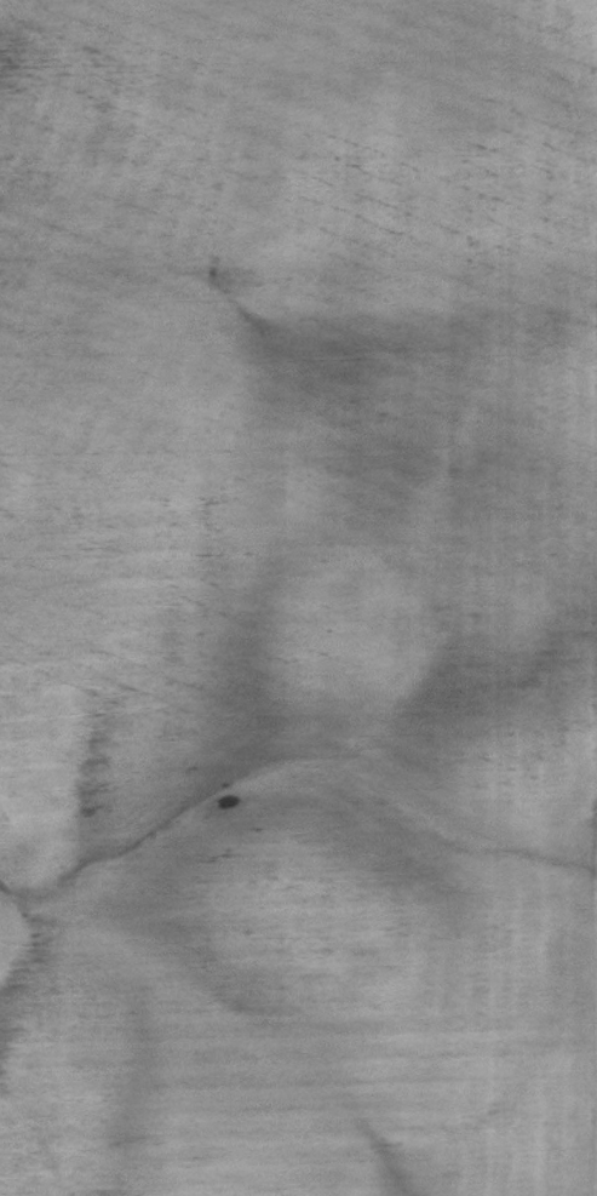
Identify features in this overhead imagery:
crop: (298, 597)

